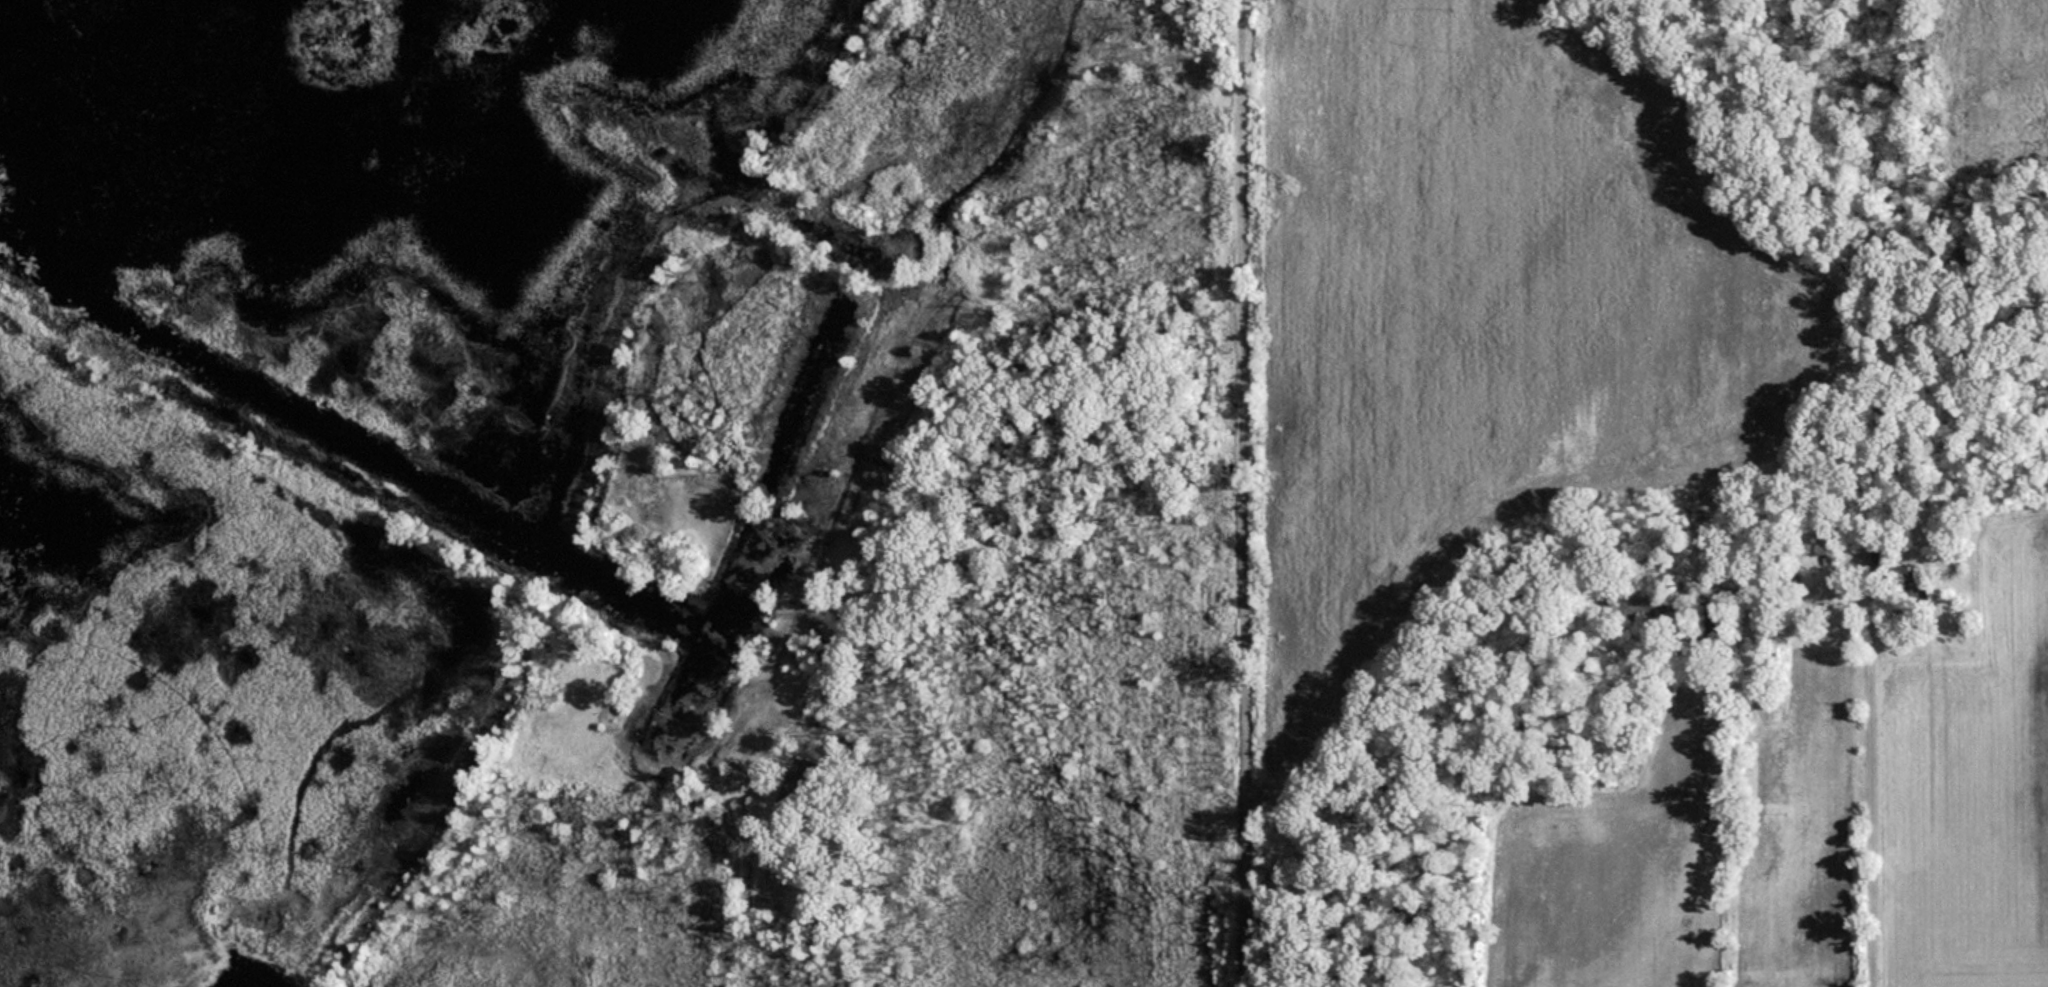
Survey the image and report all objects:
road: (1237, 493)
building: (1907, 574)
building: (1720, 620)
building: (839, 639)
road: (769, 686)
road: (1876, 767)

